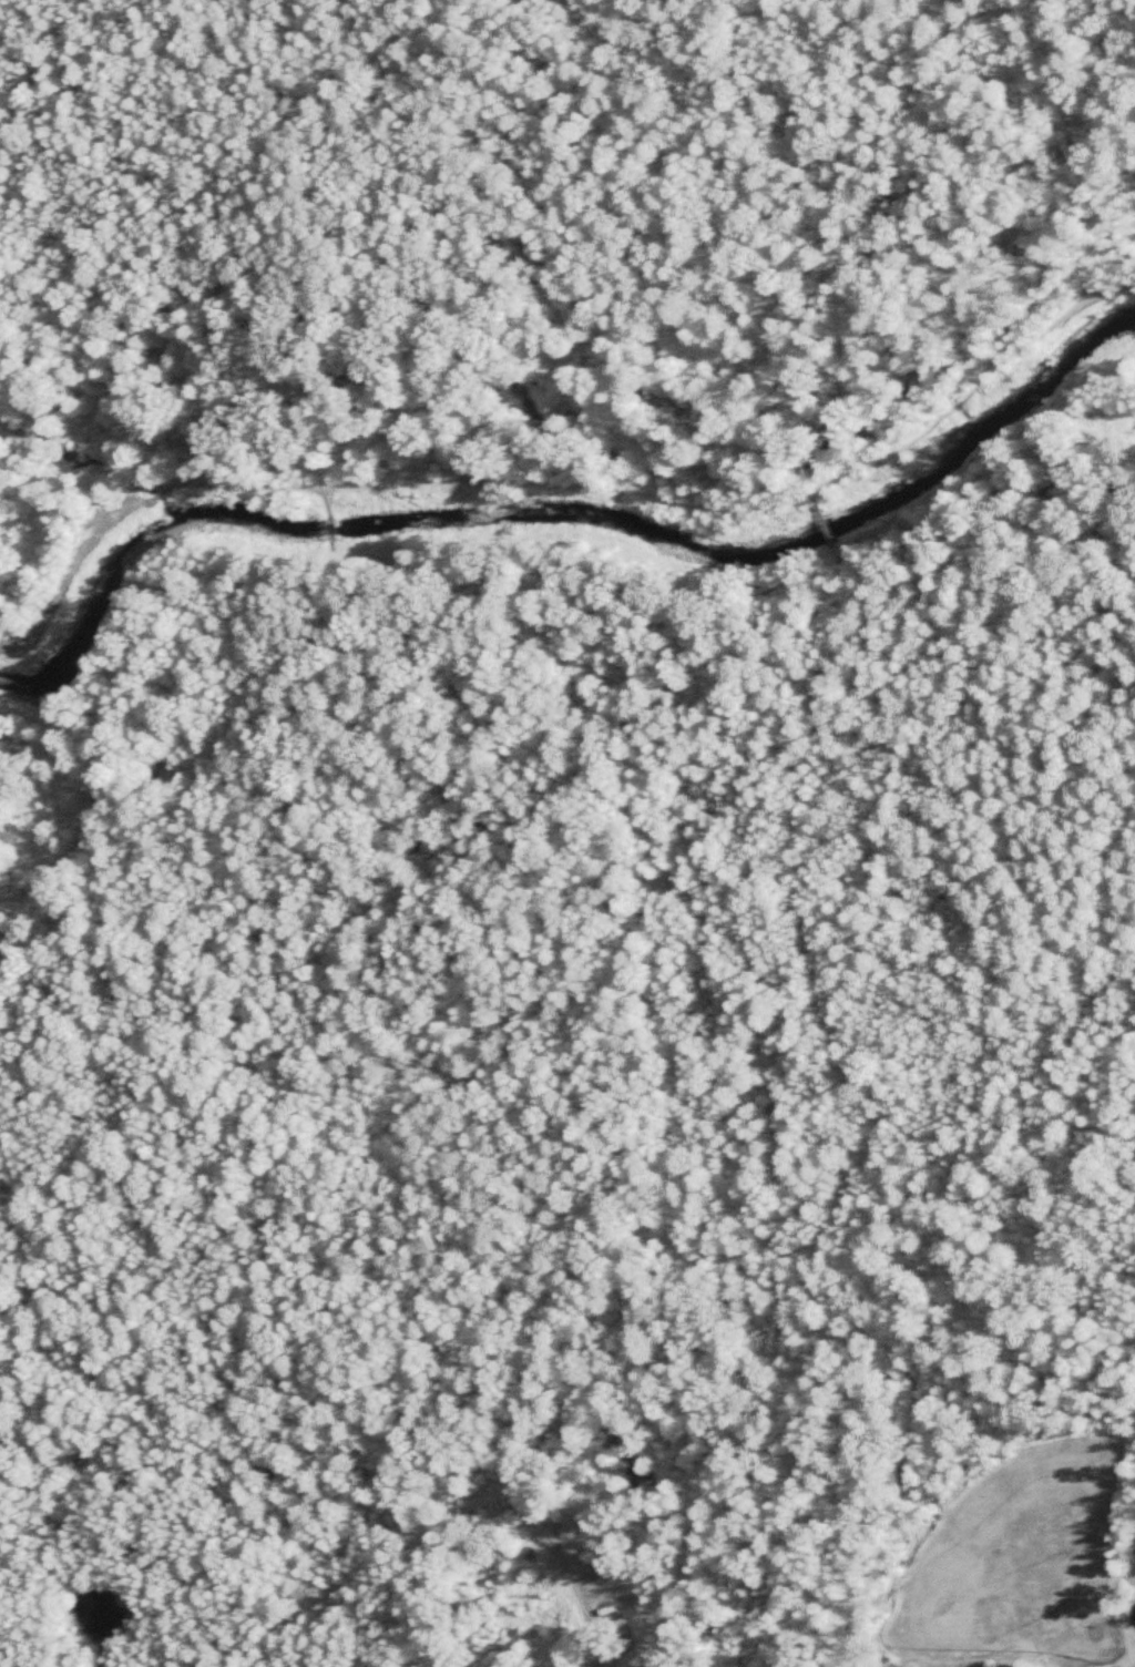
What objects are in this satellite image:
road: (824, 525)

